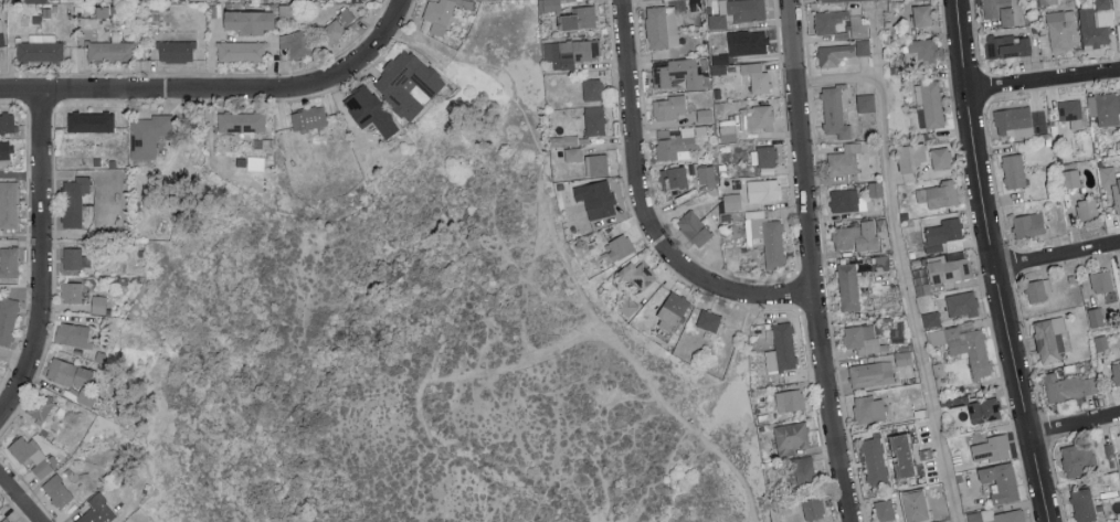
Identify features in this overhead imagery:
building: (34, 0)
building: (835, 1)
building: (1046, 1)
building: (549, 4)
building: (439, 10)
building: (1002, 10)
building: (737, 12)
building: (922, 14)
building: (579, 17)
building: (249, 20)
building: (830, 20)
building: (1096, 23)
building: (661, 26)
building: (858, 26)
building: (1060, 29)
building: (332, 30)
building: (1118, 30)
building: (1, 33)
building: (757, 41)
building: (295, 42)
road: (875, 45)
building: (1007, 45)
building: (863, 46)
building: (40, 47)
building: (110, 50)
building: (176, 50)
building: (242, 50)
building: (920, 50)
building: (570, 52)
building: (834, 53)
building: (677, 73)
building: (757, 76)
road: (1043, 77)
building: (385, 83)
building: (592, 88)
road: (223, 93)
building: (865, 102)
building: (929, 103)
building: (669, 106)
building: (1105, 108)
building: (369, 109)
building: (1070, 110)
building: (834, 113)
building: (757, 116)
building: (308, 117)
building: (594, 119)
building: (91, 120)
building: (241, 120)
building: (1013, 120)
building: (7, 121)
building: (727, 130)
building: (148, 134)
building: (676, 142)
building: (573, 153)
building: (763, 156)
building: (910, 156)
building: (940, 157)
building: (845, 159)
building: (255, 162)
building: (596, 164)
building: (1014, 170)
building: (706, 174)
building: (674, 177)
building: (1070, 178)
building: (1111, 182)
building: (763, 189)
building: (939, 193)
building: (595, 198)
building: (844, 199)
building: (74, 200)
building: (731, 201)
building: (9, 203)
road: (645, 205)
building: (1087, 209)
building: (1028, 224)
building: (694, 227)
building: (856, 235)
building: (944, 235)
building: (765, 236)
building: (616, 248)
road: (1057, 252)
building: (72, 257)
road: (900, 260)
road: (810, 262)
building: (880, 262)
road: (993, 262)
building: (8, 263)
road: (41, 263)
road: (569, 267)
building: (949, 269)
building: (637, 274)
building: (1101, 280)
building: (848, 286)
building: (1038, 289)
building: (72, 291)
building: (962, 302)
building: (98, 303)
building: (672, 311)
building: (1095, 317)
building: (8, 318)
building: (931, 318)
building: (708, 319)
building: (73, 333)
building: (862, 338)
building: (1050, 338)
building: (1100, 342)
building: (784, 344)
building: (965, 347)
building: (904, 358)
park: (421, 360)
building: (1116, 372)
building: (871, 373)
building: (73, 377)
building: (1067, 386)
building: (789, 400)
building: (960, 400)
building: (40, 406)
building: (868, 408)
building: (984, 409)
road: (1075, 420)
building: (792, 435)
building: (991, 448)
building: (32, 455)
building: (901, 455)
building: (1078, 457)
building: (875, 460)
building: (804, 469)
building: (1001, 481)
building: (57, 490)
road: (20, 499)
building: (1082, 504)
building: (813, 508)
building: (95, 510)
building: (884, 510)
building: (997, 515)
building: (7, 519)

